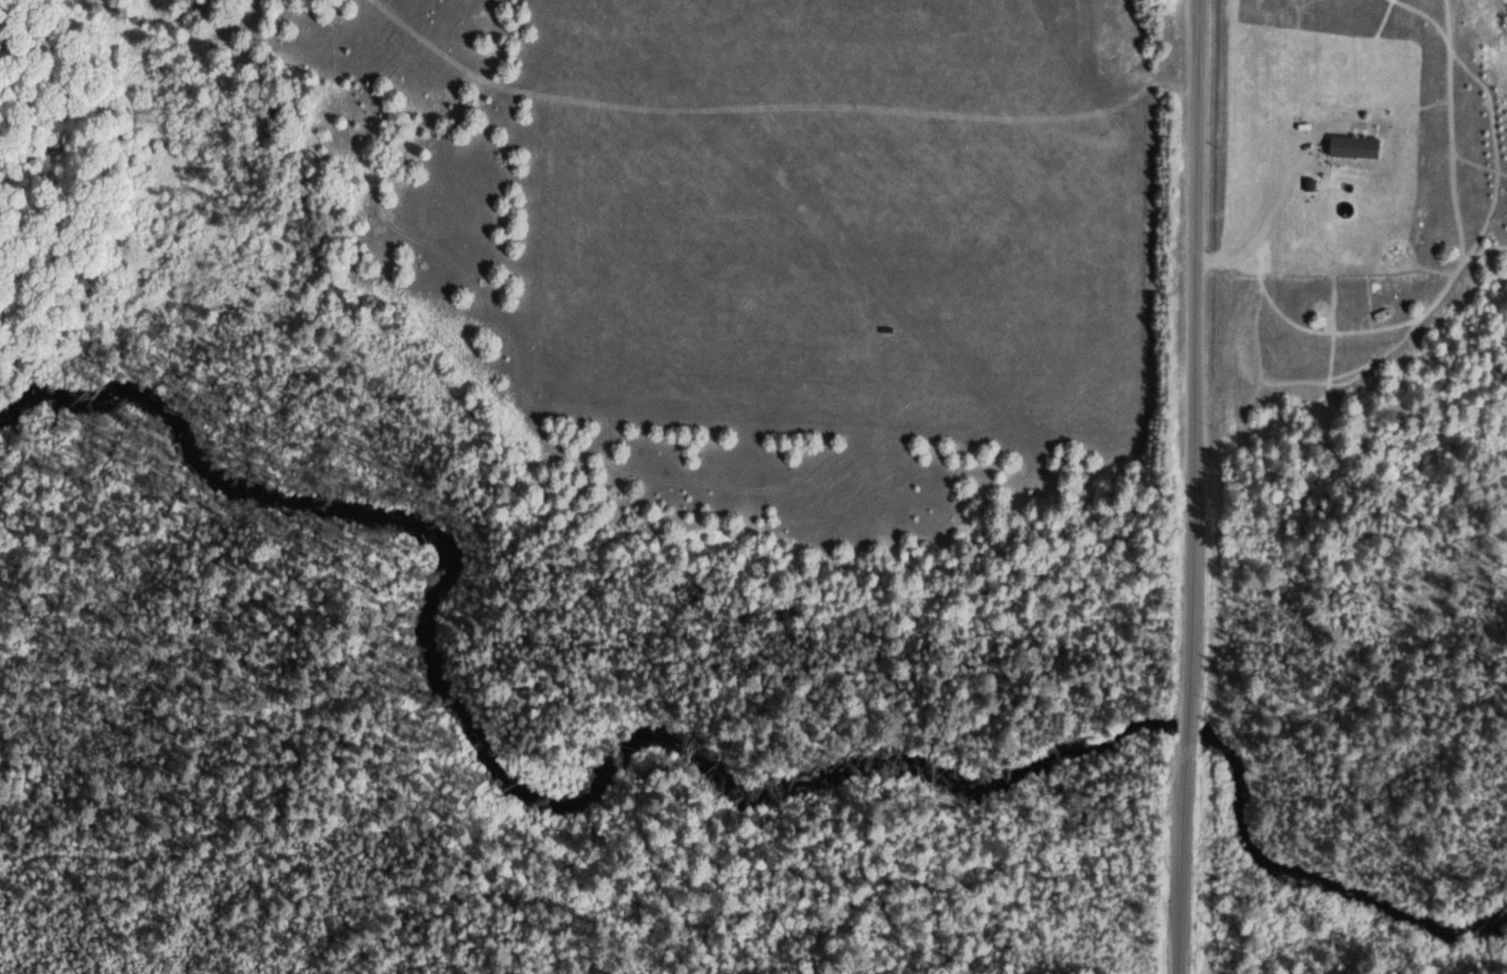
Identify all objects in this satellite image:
road: (1197, 129)
building: (1351, 146)
road: (1294, 175)
road: (1191, 616)

